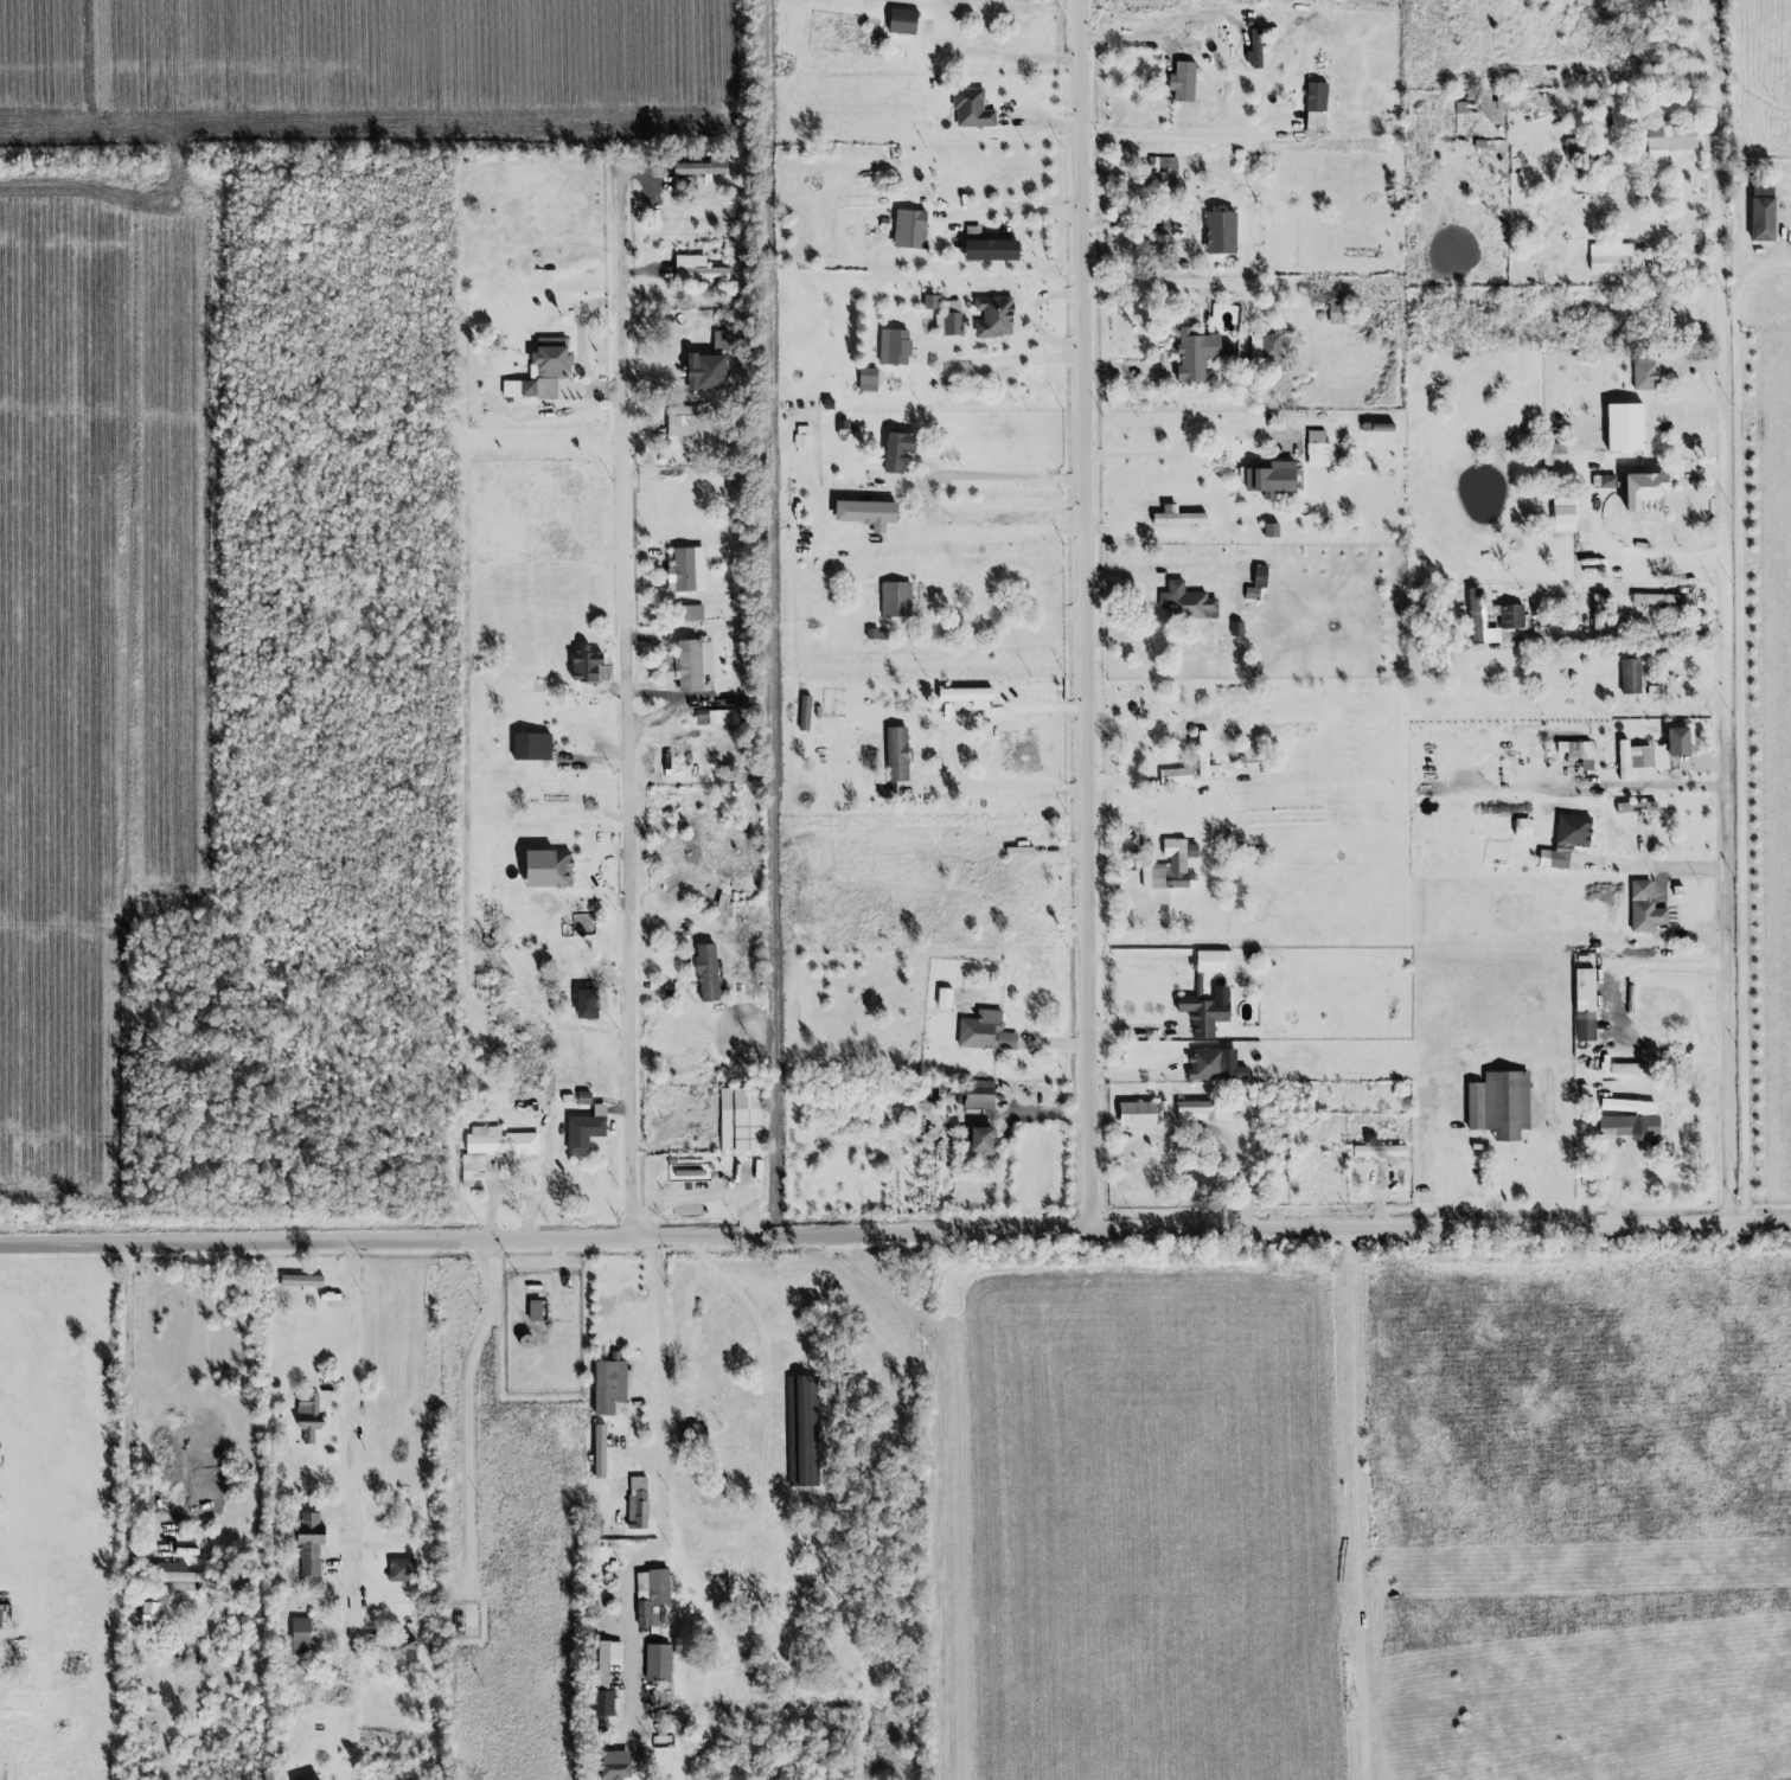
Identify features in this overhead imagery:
building: (901, 23)
road: (1133, 41)
building: (1644, 47)
building: (1255, 51)
road: (1008, 55)
building: (1182, 83)
building: (1510, 101)
building: (971, 109)
building: (1315, 110)
road: (1191, 136)
building: (1667, 142)
building: (1162, 165)
building: (702, 167)
road: (1026, 211)
building: (1761, 212)
road: (1126, 223)
building: (908, 230)
building: (1220, 233)
road: (1672, 244)
building: (987, 249)
building: (1610, 258)
building: (696, 270)
road: (1759, 283)
road: (1170, 284)
building: (929, 302)
building: (1336, 313)
building: (994, 318)
road: (1032, 319)
building: (948, 320)
building: (719, 341)
building: (893, 347)
building: (1265, 347)
building: (1197, 354)
road: (1006, 364)
building: (539, 371)
building: (703, 373)
building: (1644, 373)
building: (866, 380)
building: (683, 427)
building: (1377, 428)
building: (1624, 428)
building: (802, 438)
building: (1320, 450)
building: (896, 453)
building: (1554, 455)
road: (1194, 456)
road: (1004, 480)
building: (1271, 480)
building: (1604, 482)
building: (1645, 494)
road: (1581, 508)
building: (865, 514)
building: (1176, 518)
road: (990, 529)
building: (1269, 531)
building: (685, 571)
building: (1256, 584)
building: (895, 600)
building: (1659, 601)
building: (1185, 603)
building: (691, 614)
road: (1083, 614)
building: (1511, 617)
building: (1479, 622)
road: (1625, 636)
building: (583, 662)
building: (687, 664)
building: (1630, 677)
road: (1732, 690)
building: (1654, 691)
building: (964, 694)
building: (711, 717)
road: (625, 734)
building: (530, 745)
building: (1670, 747)
building: (895, 754)
road: (949, 755)
building: (1203, 755)
building: (1576, 755)
building: (1631, 757)
road: (1119, 779)
road: (1652, 787)
building: (1636, 809)
building: (1522, 827)
building: (1568, 835)
building: (1170, 866)
road: (1663, 866)
building: (545, 867)
building: (1644, 908)
building: (1213, 961)
road: (1680, 966)
building: (705, 972)
building: (942, 997)
building: (584, 1004)
building: (1203, 1013)
building: (984, 1032)
building: (1214, 1065)
building: (1627, 1068)
building: (978, 1094)
building: (1498, 1105)
building: (1627, 1105)
building: (1203, 1110)
building: (1136, 1114)
building: (740, 1119)
building: (1626, 1122)
building: (584, 1129)
building: (981, 1140)
road: (1655, 1141)
building: (493, 1148)
building: (1377, 1151)
road: (1765, 1221)
road: (870, 1235)
building: (300, 1281)
building: (533, 1311)
building: (607, 1387)
road: (129, 1398)
road: (467, 1410)
building: (308, 1416)
building: (801, 1430)
building: (599, 1452)
road: (663, 1483)
building: (638, 1503)
road: (1368, 1503)
road: (351, 1511)
building: (308, 1544)
building: (399, 1569)
building: (179, 1576)
building: (650, 1595)
building: (5, 1616)
building: (299, 1635)
building: (403, 1651)
building: (657, 1663)
building: (605, 1676)
building: (614, 1766)
building: (314, 1779)

